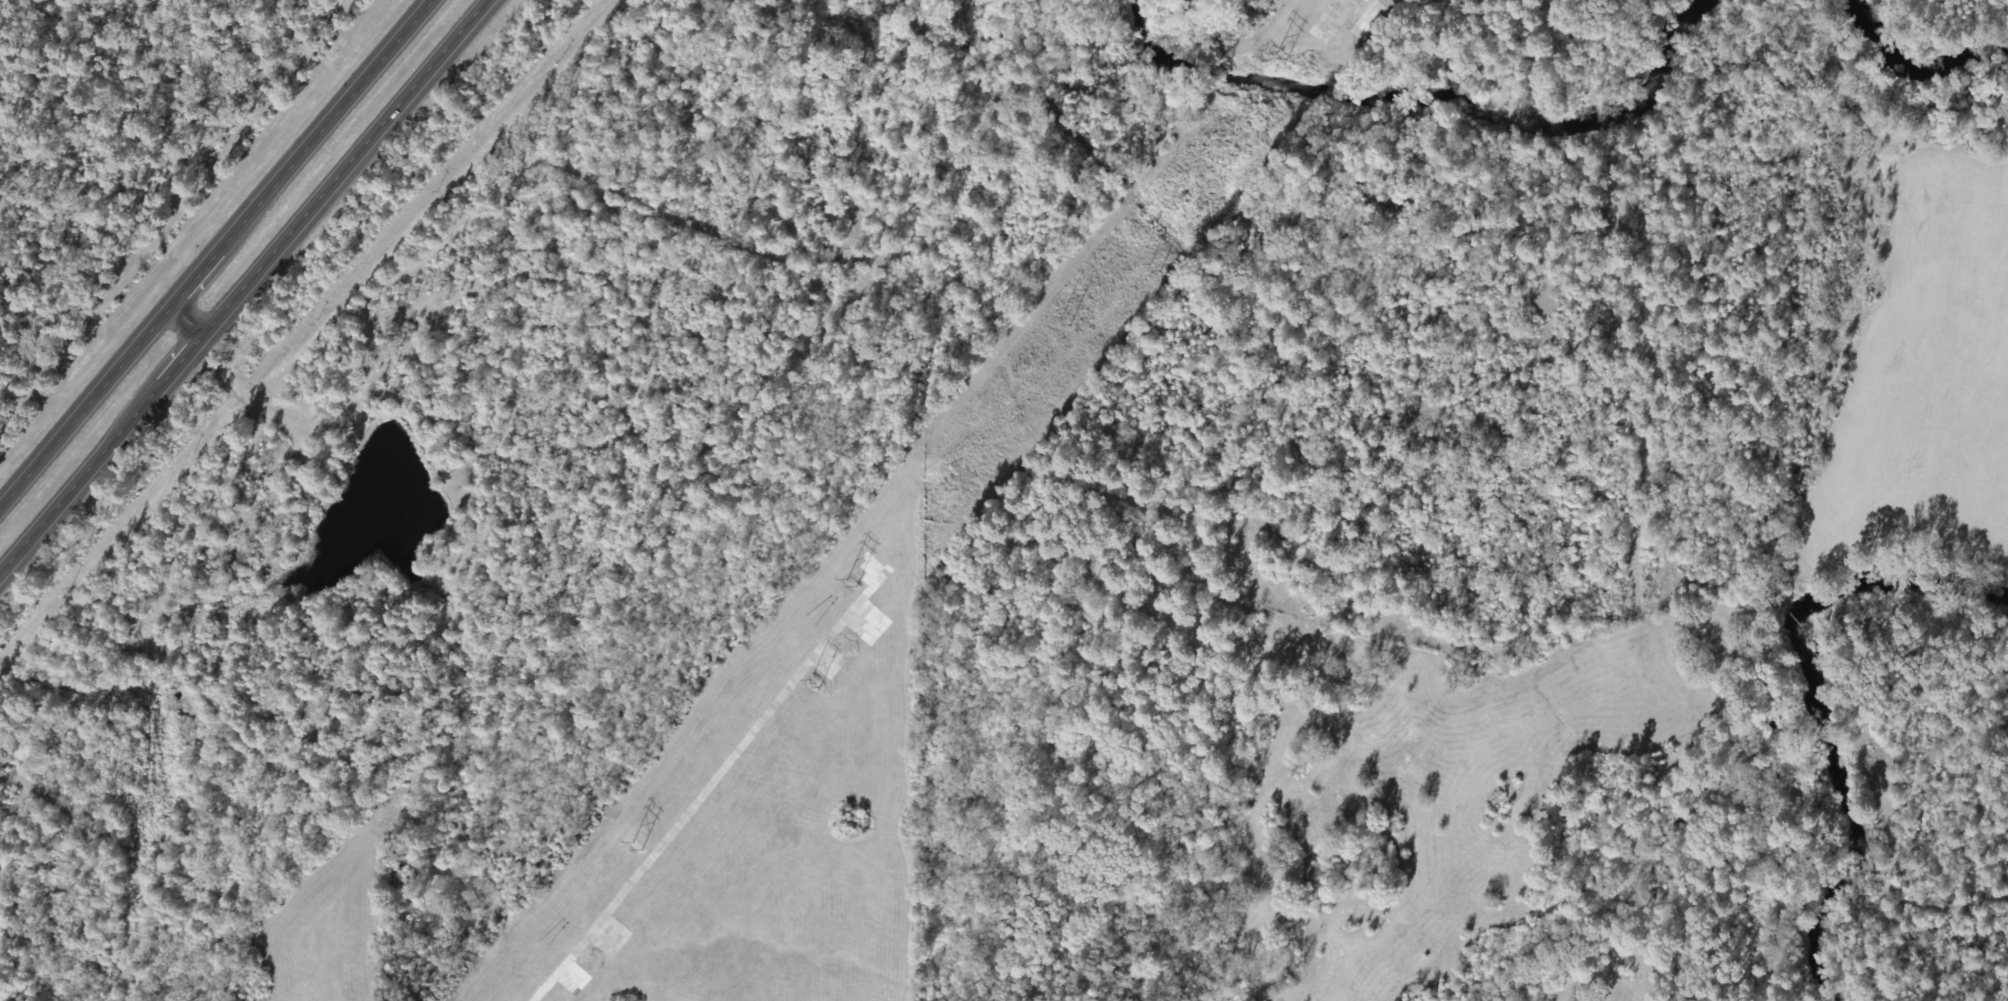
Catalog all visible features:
power tower: (1273, 51)
road: (335, 113)
road: (343, 166)
power tower: (1147, 260)
road: (205, 266)
power tower: (1058, 312)
road: (188, 319)
road: (171, 370)
road: (85, 406)
road: (68, 489)
power tower: (844, 580)
power tower: (813, 682)
power tower: (631, 837)

